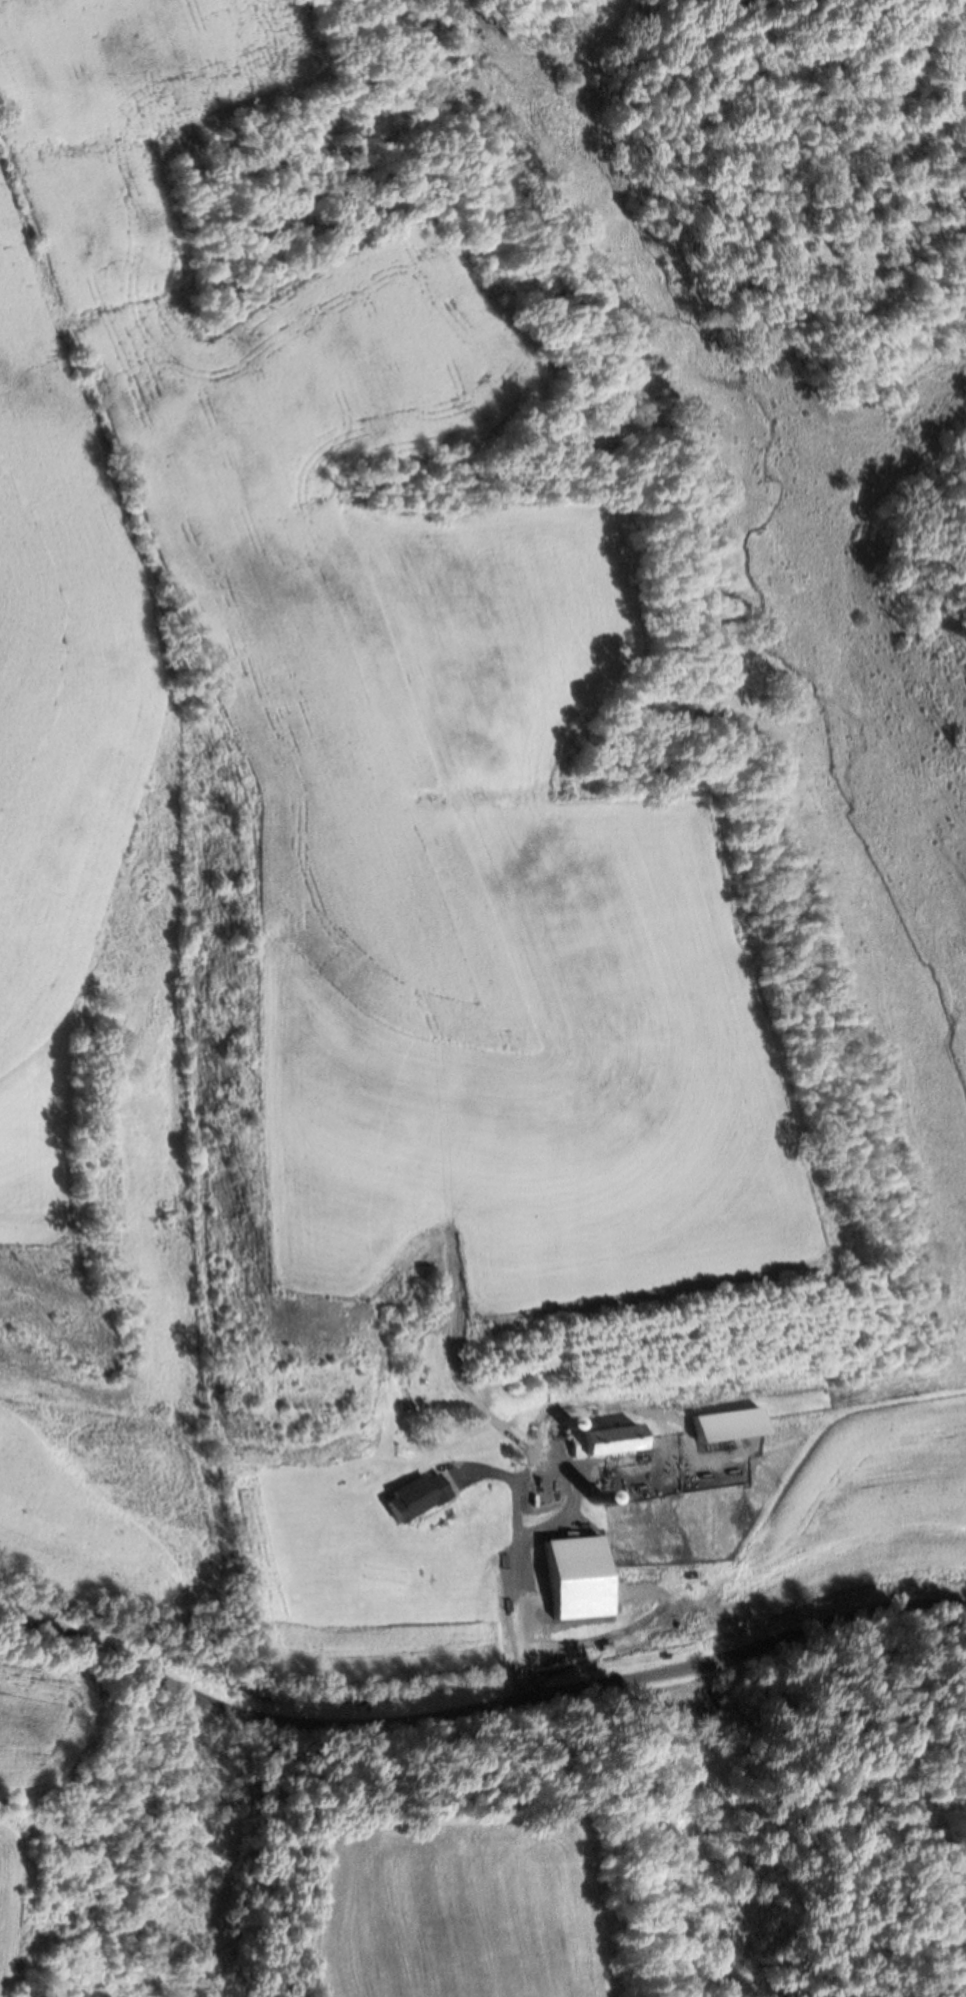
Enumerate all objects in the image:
building: (728, 1425)
building: (606, 1440)
building: (414, 1497)
building: (580, 1577)
road: (477, 1711)

